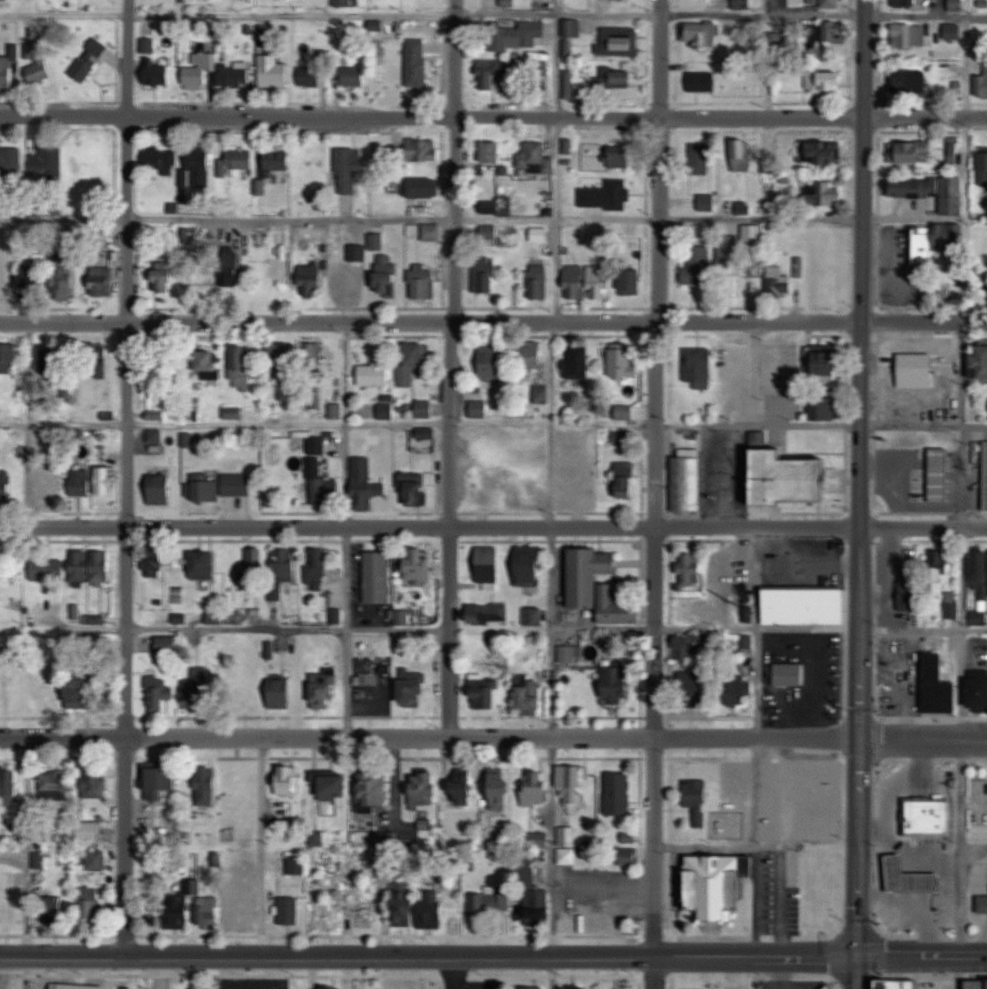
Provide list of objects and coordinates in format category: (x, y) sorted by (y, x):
building: (342, 3)
building: (826, 3)
building: (918, 3)
building: (741, 4)
building: (956, 5)
road: (559, 8)
road: (924, 14)
road: (431, 16)
building: (831, 33)
building: (515, 34)
building: (701, 34)
building: (909, 35)
building: (618, 41)
building: (148, 46)
building: (94, 54)
building: (417, 62)
building: (9, 64)
building: (41, 70)
building: (200, 71)
building: (238, 71)
building: (273, 71)
building: (495, 72)
building: (155, 73)
building: (353, 75)
building: (308, 77)
building: (617, 77)
building: (703, 81)
building: (825, 81)
building: (911, 81)
building: (568, 84)
building: (982, 85)
building: (743, 86)
road: (493, 116)
building: (492, 149)
building: (422, 151)
building: (536, 152)
building: (821, 152)
building: (912, 152)
building: (742, 155)
building: (700, 158)
building: (622, 159)
building: (277, 161)
building: (47, 162)
building: (160, 162)
building: (235, 162)
building: (10, 163)
building: (983, 165)
building: (197, 168)
building: (347, 171)
building: (915, 187)
building: (423, 188)
building: (823, 194)
building: (606, 195)
building: (492, 206)
building: (742, 207)
road: (494, 218)
road: (914, 218)
road: (965, 219)
building: (431, 232)
building: (488, 235)
building: (539, 235)
building: (951, 235)
building: (921, 244)
building: (701, 260)
building: (729, 266)
building: (230, 267)
building: (352, 270)
building: (279, 272)
building: (484, 275)
building: (386, 277)
building: (163, 278)
building: (20, 279)
building: (65, 279)
building: (310, 280)
building: (779, 281)
building: (102, 282)
building: (423, 282)
building: (588, 282)
building: (539, 283)
road: (493, 321)
building: (283, 354)
building: (312, 354)
building: (332, 354)
building: (532, 356)
building: (9, 360)
building: (98, 361)
building: (948, 361)
building: (578, 362)
building: (622, 362)
building: (412, 363)
building: (492, 363)
building: (698, 364)
building: (827, 364)
building: (208, 365)
building: (979, 365)
building: (53, 367)
road: (656, 367)
building: (241, 368)
road: (452, 368)
building: (895, 373)
building: (374, 374)
building: (541, 395)
building: (906, 404)
building: (424, 409)
building: (479, 409)
building: (824, 411)
building: (235, 413)
building: (624, 413)
road: (875, 421)
road: (493, 425)
building: (426, 434)
building: (155, 435)
building: (622, 438)
building: (315, 446)
building: (939, 475)
building: (986, 475)
road: (125, 476)
road: (861, 478)
building: (626, 480)
building: (792, 480)
building: (104, 481)
building: (687, 484)
building: (79, 485)
building: (321, 485)
building: (365, 485)
building: (219, 487)
building: (5, 488)
building: (48, 488)
building: (414, 488)
building: (160, 490)
road: (493, 527)
road: (551, 536)
building: (254, 564)
building: (418, 565)
building: (100, 566)
building: (153, 566)
building: (203, 566)
building: (284, 566)
building: (528, 566)
building: (79, 567)
building: (487, 568)
building: (315, 569)
building: (691, 569)
building: (46, 570)
building: (589, 576)
road: (757, 577)
road: (889, 577)
road: (960, 577)
building: (377, 578)
building: (941, 582)
building: (909, 596)
building: (805, 606)
building: (617, 608)
building: (692, 610)
building: (487, 613)
building: (533, 616)
building: (214, 618)
road: (923, 627)
road: (390, 628)
road: (808, 628)
road: (349, 629)
road: (757, 631)
building: (167, 645)
building: (690, 647)
building: (570, 653)
building: (789, 674)
road: (959, 683)
building: (616, 685)
building: (695, 686)
building: (200, 687)
building: (413, 687)
building: (938, 687)
building: (978, 689)
building: (324, 690)
building: (157, 692)
building: (80, 694)
building: (280, 694)
building: (484, 694)
building: (741, 694)
building: (530, 699)
road: (493, 736)
building: (53, 783)
building: (94, 783)
building: (159, 783)
road: (892, 784)
building: (288, 785)
building: (572, 785)
building: (206, 787)
building: (463, 787)
building: (8, 788)
building: (424, 788)
building: (537, 788)
building: (334, 789)
building: (502, 790)
building: (373, 792)
building: (618, 794)
road: (960, 796)
building: (698, 800)
building: (929, 816)
building: (88, 829)
building: (539, 839)
road: (653, 845)
road: (261, 847)
road: (754, 848)
road: (756, 848)
road: (965, 850)
building: (567, 856)
road: (877, 856)
building: (97, 859)
building: (296, 864)
building: (813, 867)
road: (944, 873)
building: (929, 881)
building: (718, 885)
road: (601, 886)
building: (532, 890)
building: (4, 900)
road: (891, 900)
building: (489, 901)
building: (982, 903)
building: (92, 907)
building: (52, 909)
road: (969, 909)
building: (178, 911)
building: (288, 911)
building: (238, 912)
building: (207, 913)
building: (414, 913)
road: (920, 956)
road: (427, 957)
road: (457, 969)
road: (551, 972)
road: (654, 972)
road: (854, 972)
road: (473, 982)
building: (898, 983)
building: (977, 983)
road: (457, 985)
building: (80, 986)
building: (330, 987)
building: (528, 987)
building: (575, 987)

